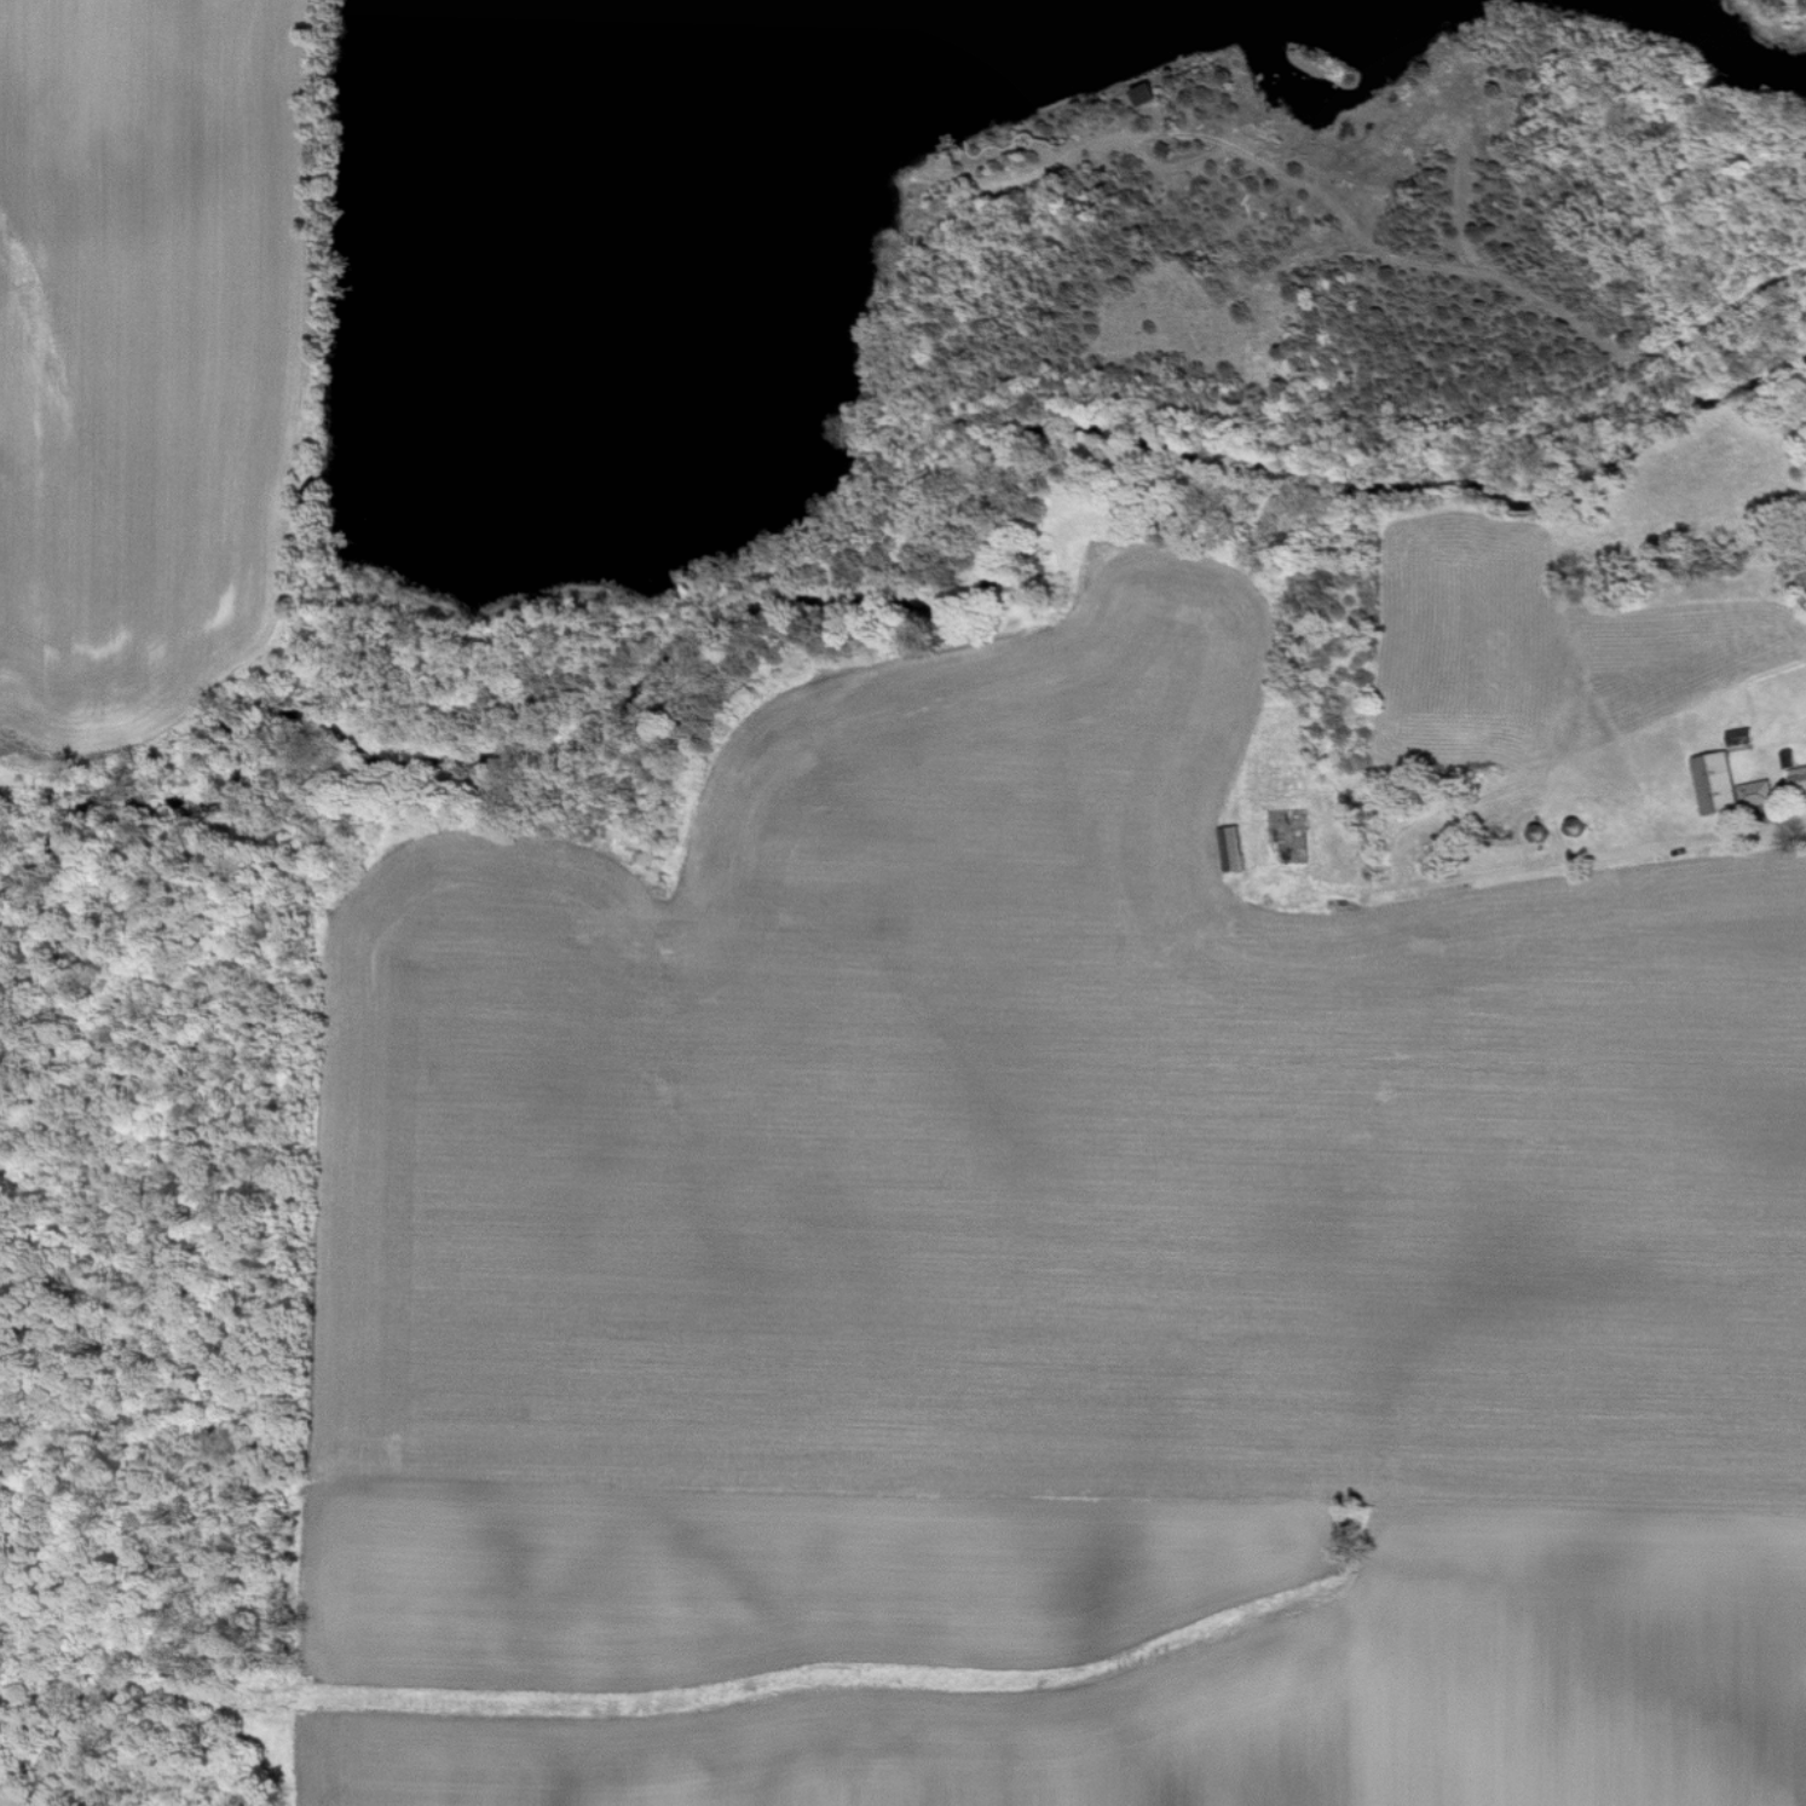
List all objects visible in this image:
building: (1743, 785)
road: (1585, 856)

